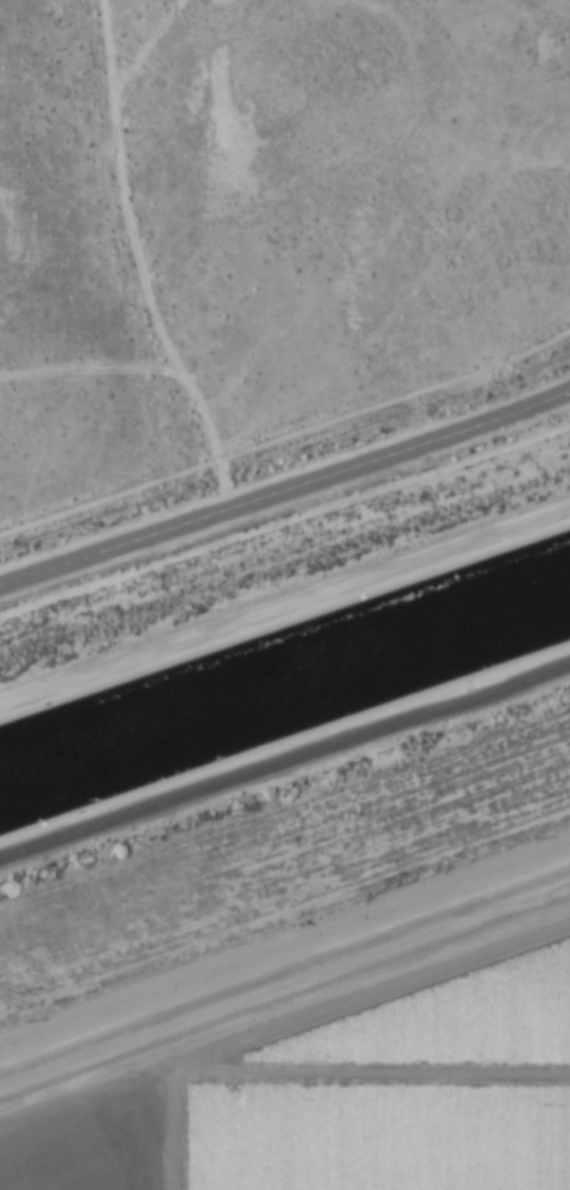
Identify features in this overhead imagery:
crop: (260, 217)
road: (138, 261)
road: (286, 488)
road: (284, 600)
road: (284, 759)
crop: (314, 1029)

